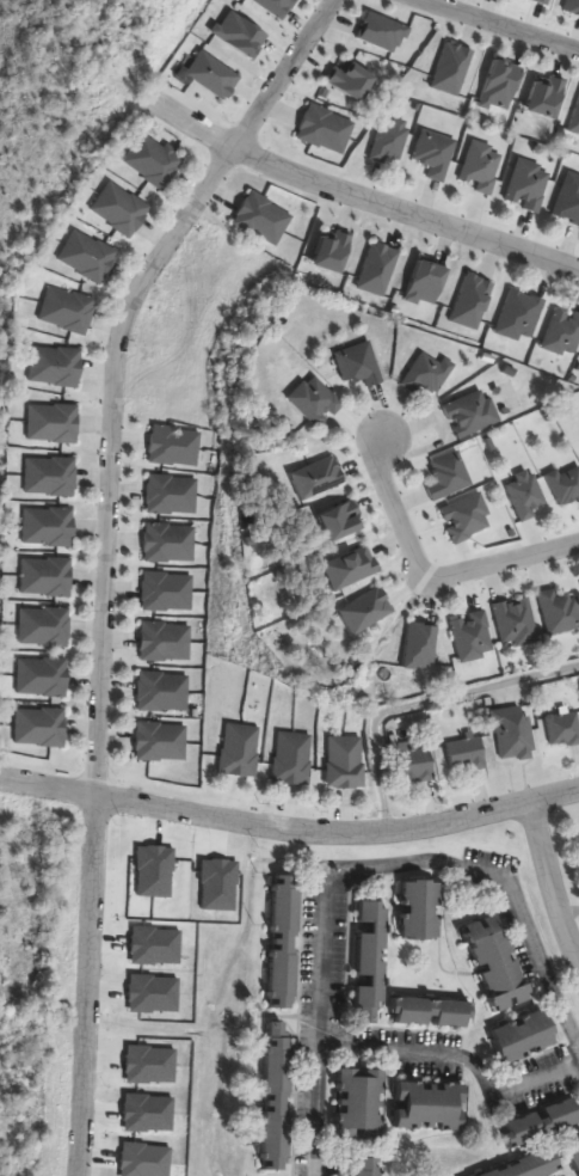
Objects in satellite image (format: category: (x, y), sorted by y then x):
road: (495, 24)
building: (326, 129)
building: (390, 141)
building: (436, 153)
building: (154, 160)
building: (483, 166)
building: (529, 185)
road: (359, 190)
building: (569, 201)
building: (121, 209)
building: (263, 219)
building: (88, 256)
building: (68, 311)
building: (521, 317)
building: (563, 333)
building: (359, 365)
building: (56, 366)
building: (429, 374)
building: (315, 402)
building: (473, 414)
building: (53, 423)
building: (174, 446)
building: (50, 477)
building: (449, 477)
building: (566, 485)
building: (171, 495)
building: (525, 496)
building: (467, 519)
building: (49, 527)
building: (170, 544)
road: (107, 556)
building: (47, 577)
road: (429, 578)
building: (167, 592)
building: (560, 612)
building: (516, 623)
building: (44, 627)
building: (473, 637)
building: (165, 642)
building: (43, 678)
building: (162, 692)
building: (41, 728)
building: (563, 730)
building: (512, 734)
building: (161, 742)
building: (240, 751)
building: (466, 754)
building: (292, 758)
building: (345, 762)
building: (414, 762)
road: (554, 802)
road: (264, 829)
road: (358, 865)
road: (547, 894)
building: (420, 909)
building: (285, 943)
building: (498, 962)
building: (370, 963)
building: (432, 1012)
building: (524, 1036)
road: (460, 1058)
building: (278, 1096)
building: (361, 1104)
building: (431, 1107)
building: (542, 1122)
building: (575, 1149)
building: (530, 1165)
building: (368, 1166)

